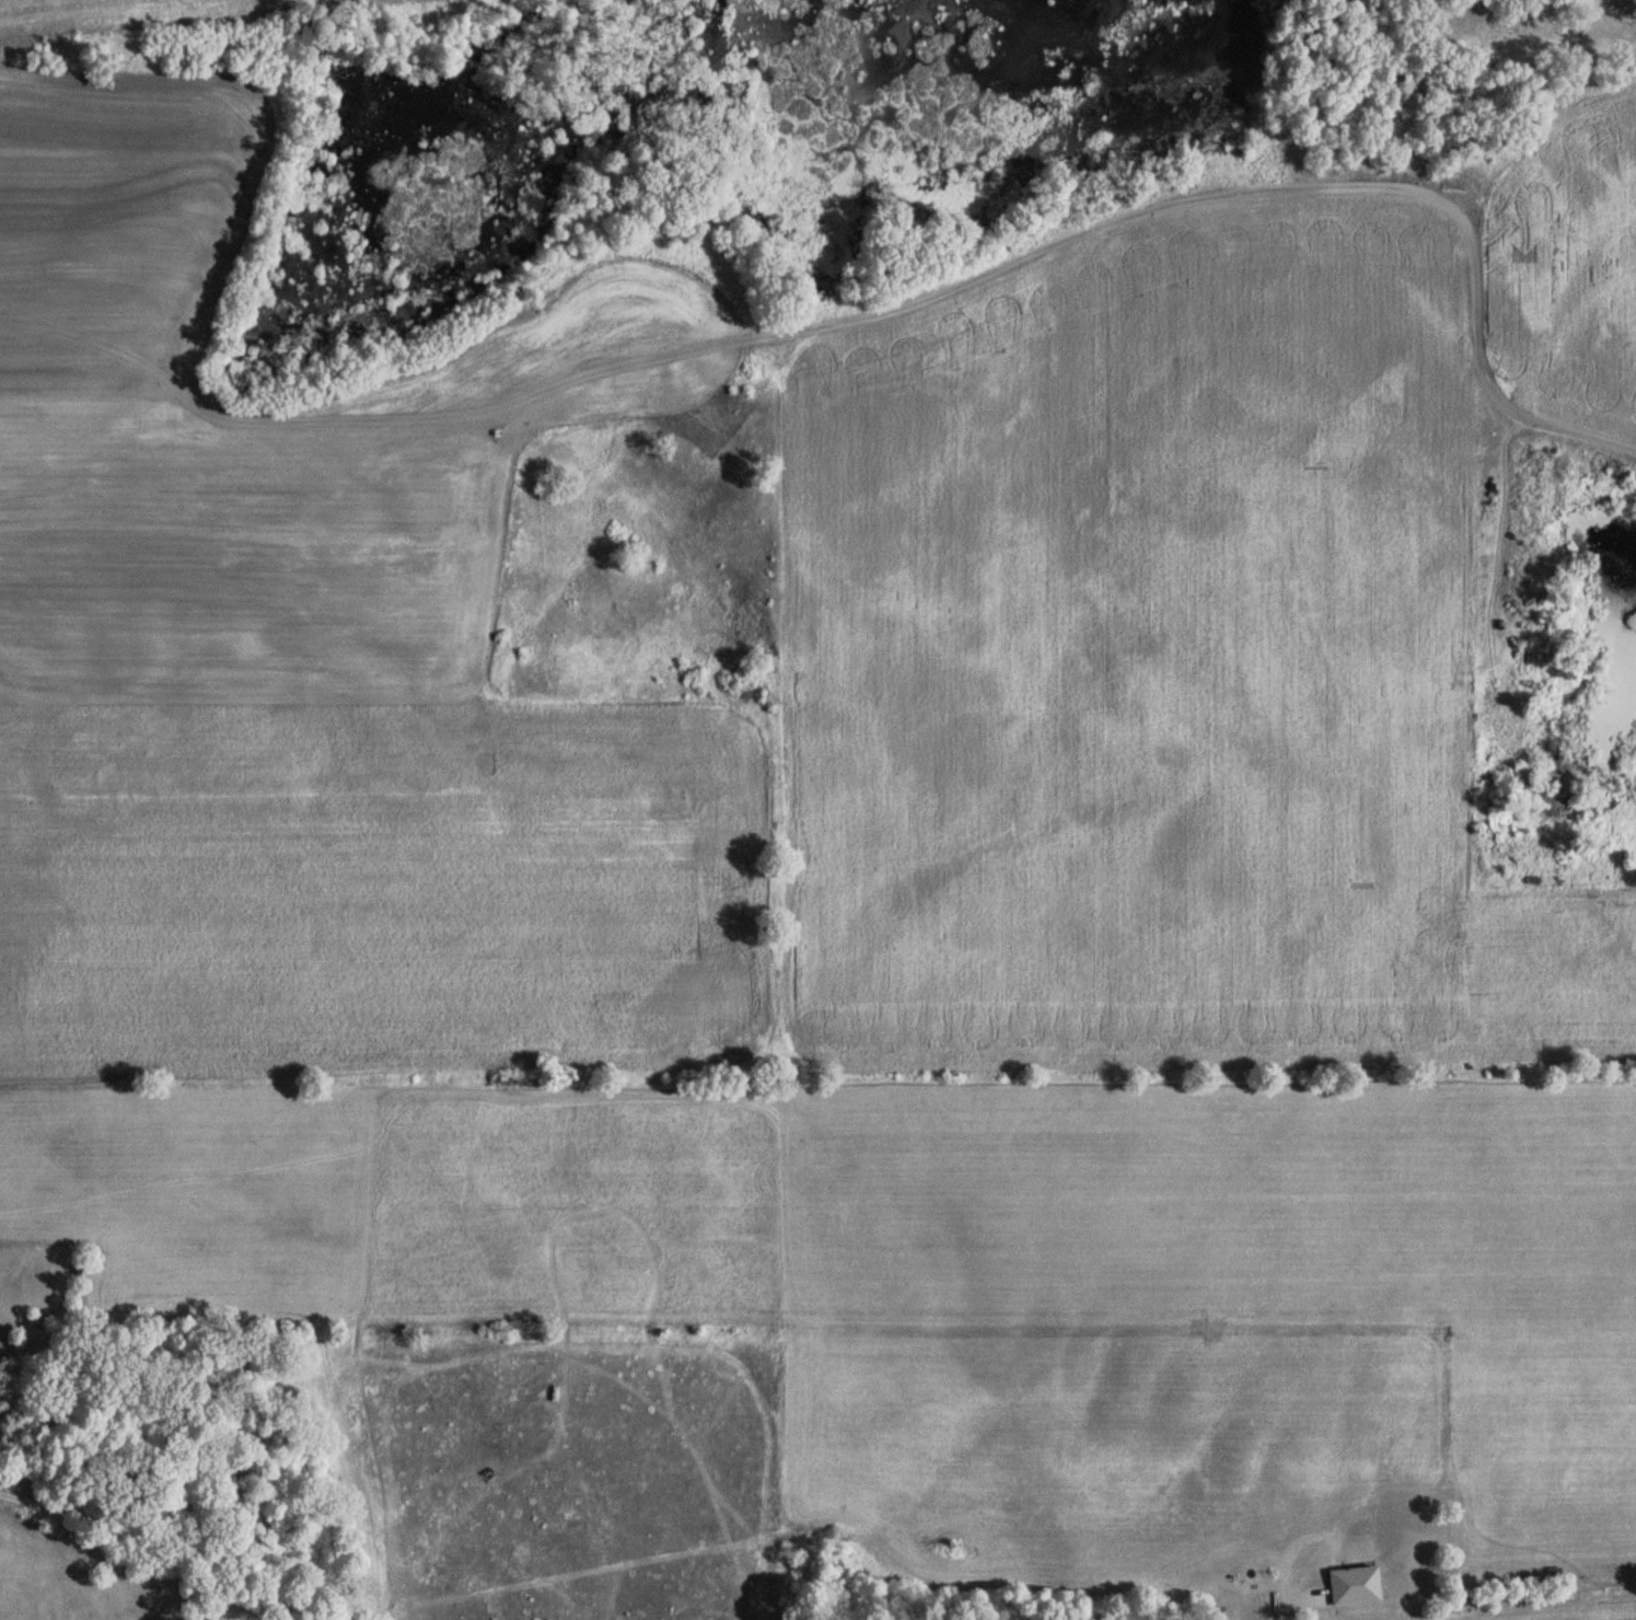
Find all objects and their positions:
road: (1284, 1600)

